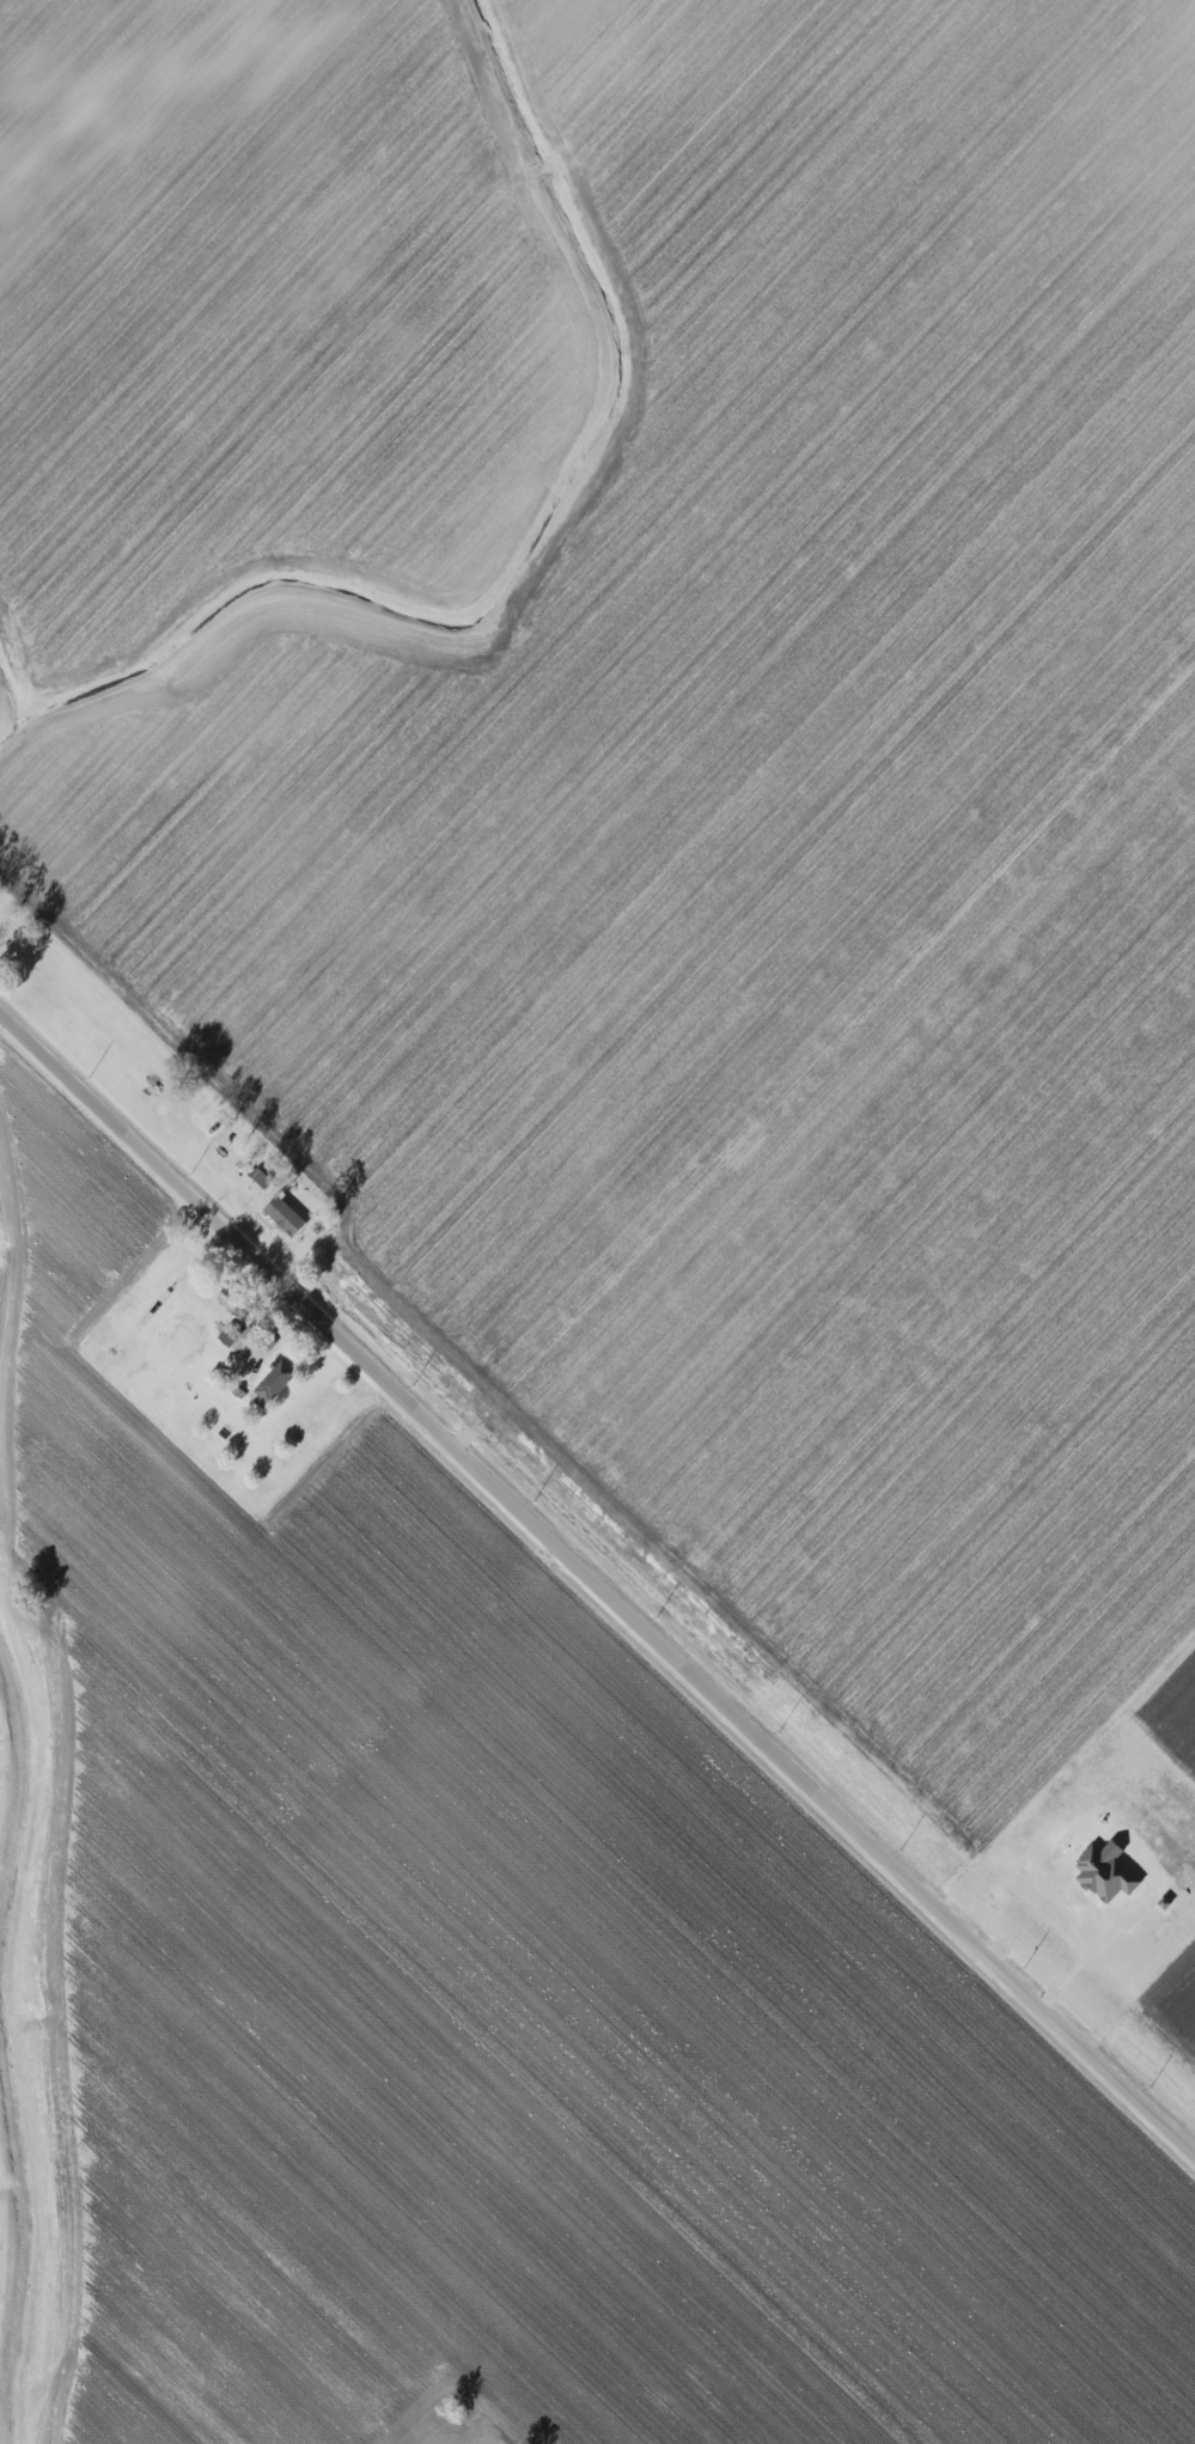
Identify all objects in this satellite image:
building: (286, 1215)
building: (276, 1381)
road: (597, 1576)
building: (1108, 1872)
road: (1086, 1957)

